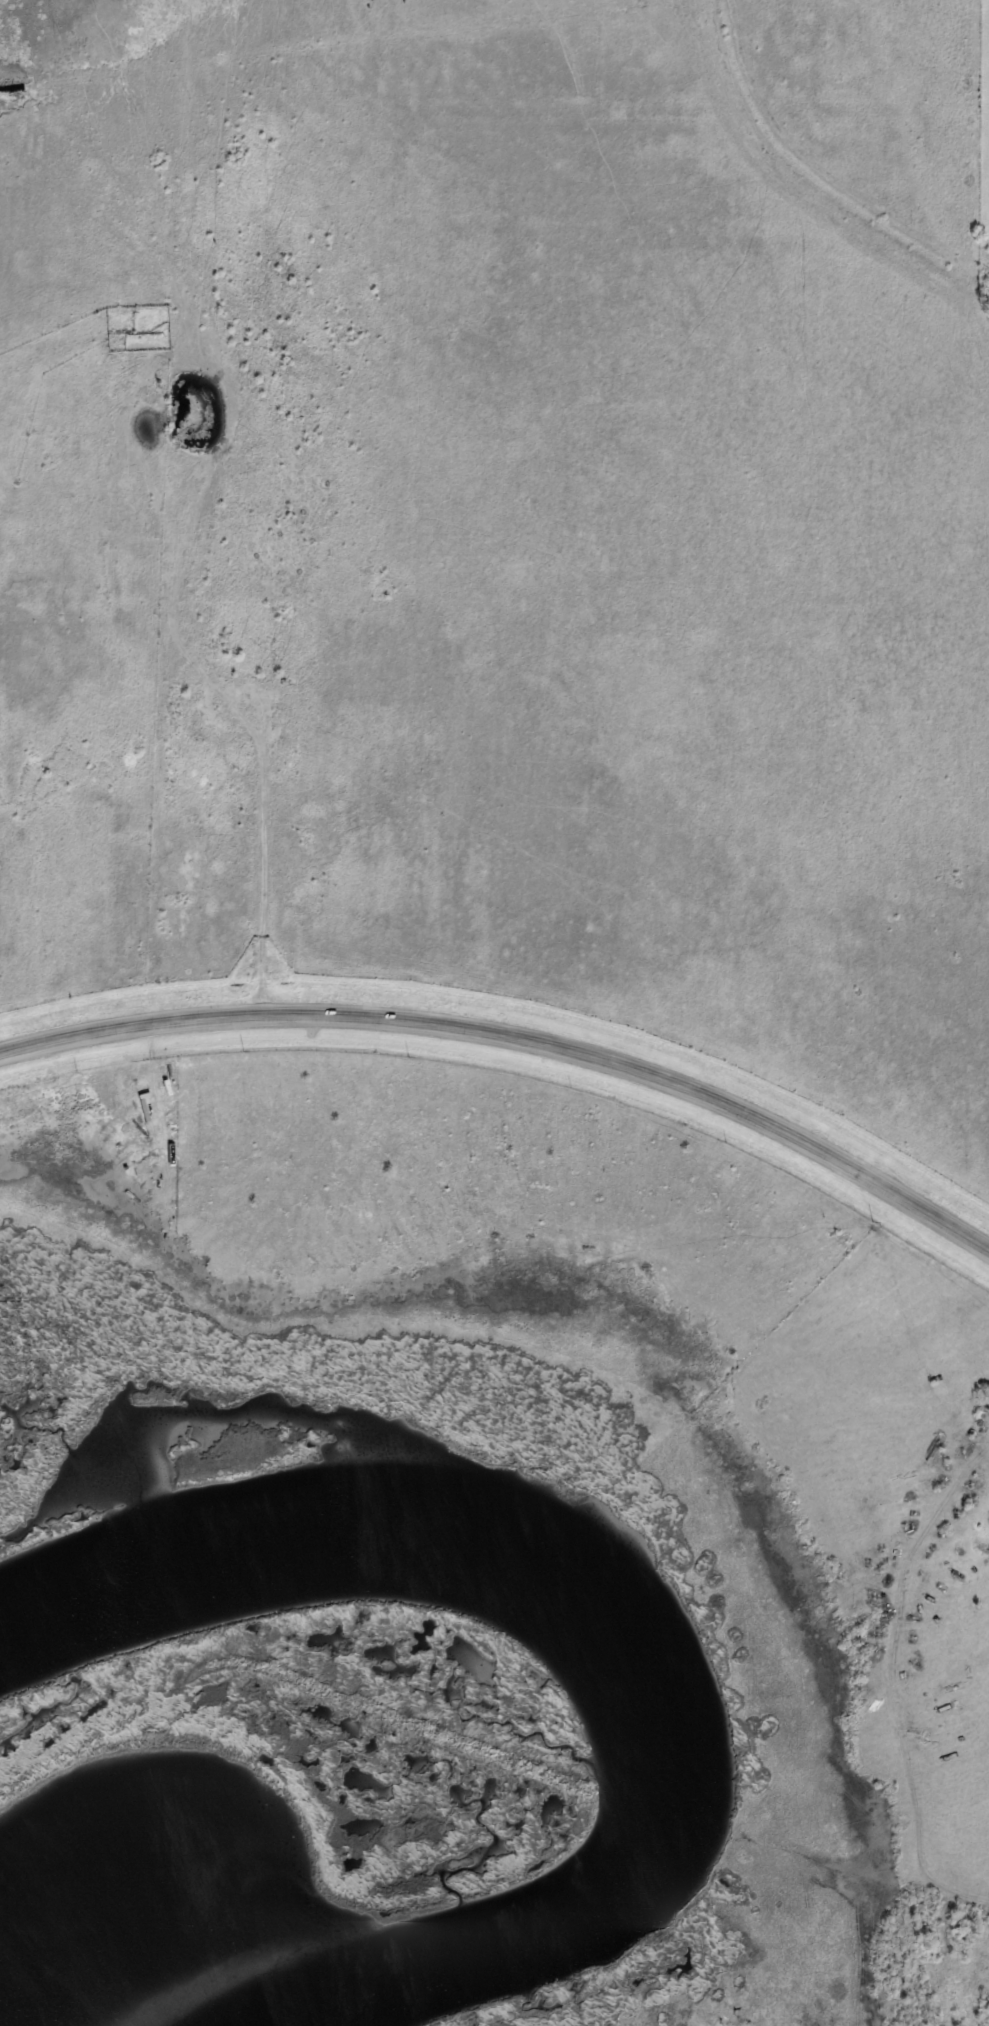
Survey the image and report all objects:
airport: (983, 134)
park: (985, 293)
road: (516, 1037)

